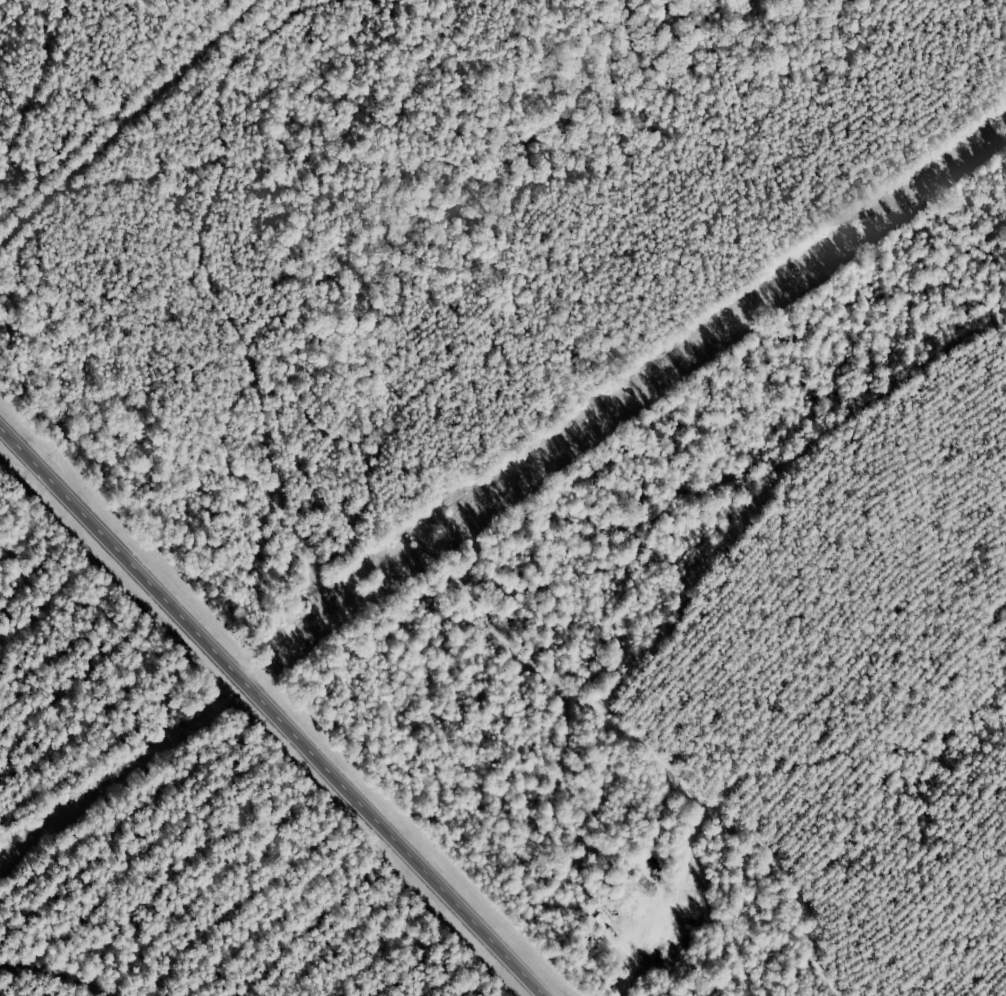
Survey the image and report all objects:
road: (620, 369)
road: (272, 710)

